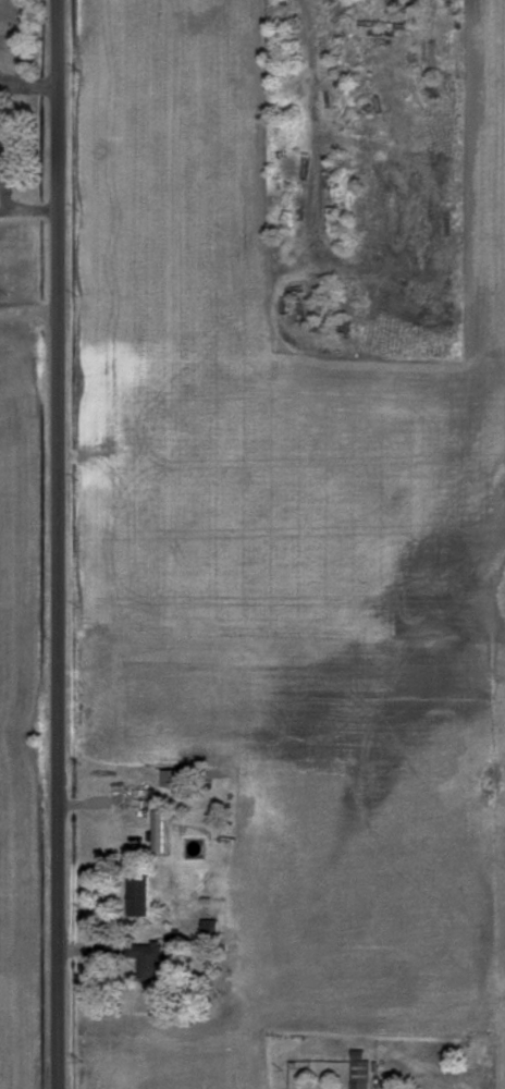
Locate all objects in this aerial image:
road: (315, 151)
building: (2, 167)
road: (30, 315)
road: (60, 544)
building: (140, 799)
building: (159, 832)
building: (139, 896)
building: (149, 963)
building: (361, 1070)

